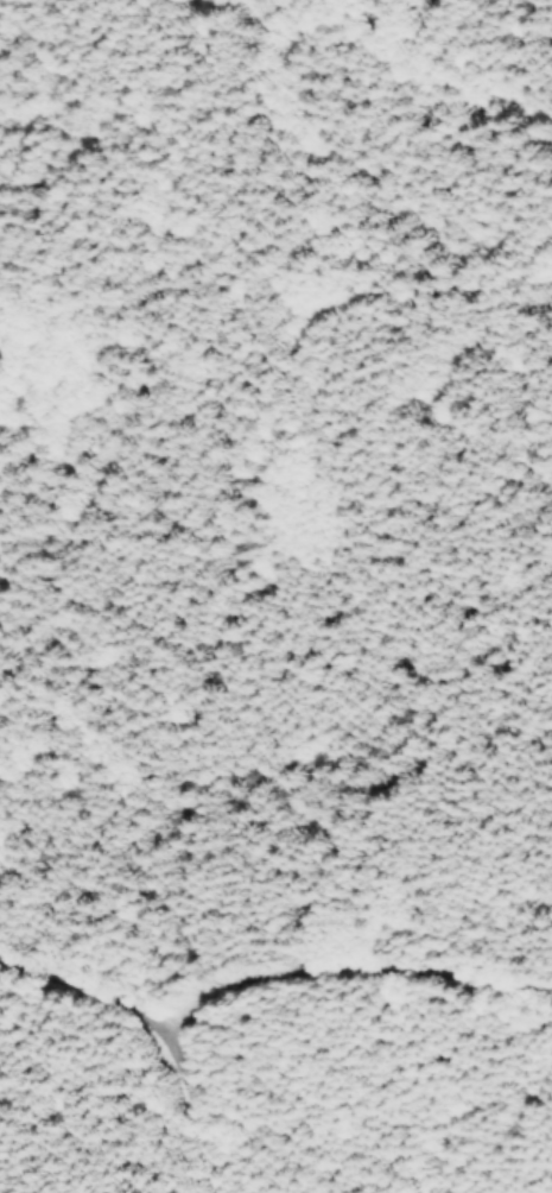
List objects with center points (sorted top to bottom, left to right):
road: (262, 1024)
road: (184, 1116)

